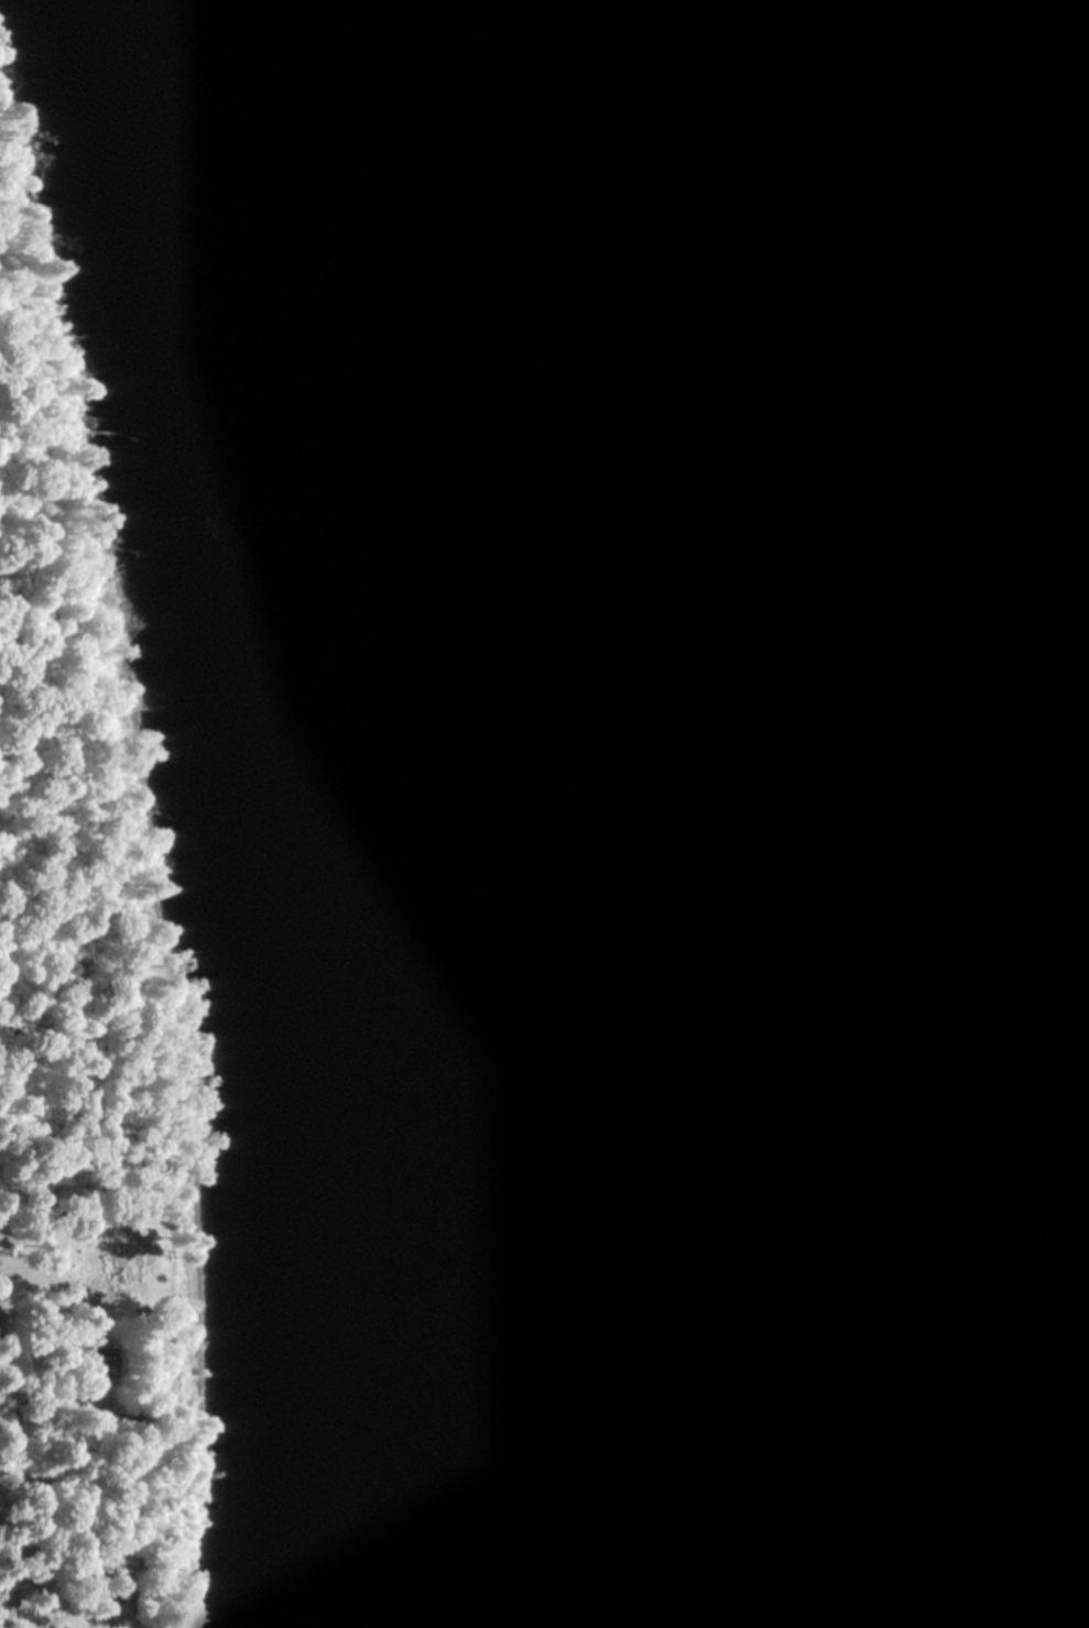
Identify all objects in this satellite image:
building: (124, 1260)
building: (100, 1364)
road: (23, 1483)

